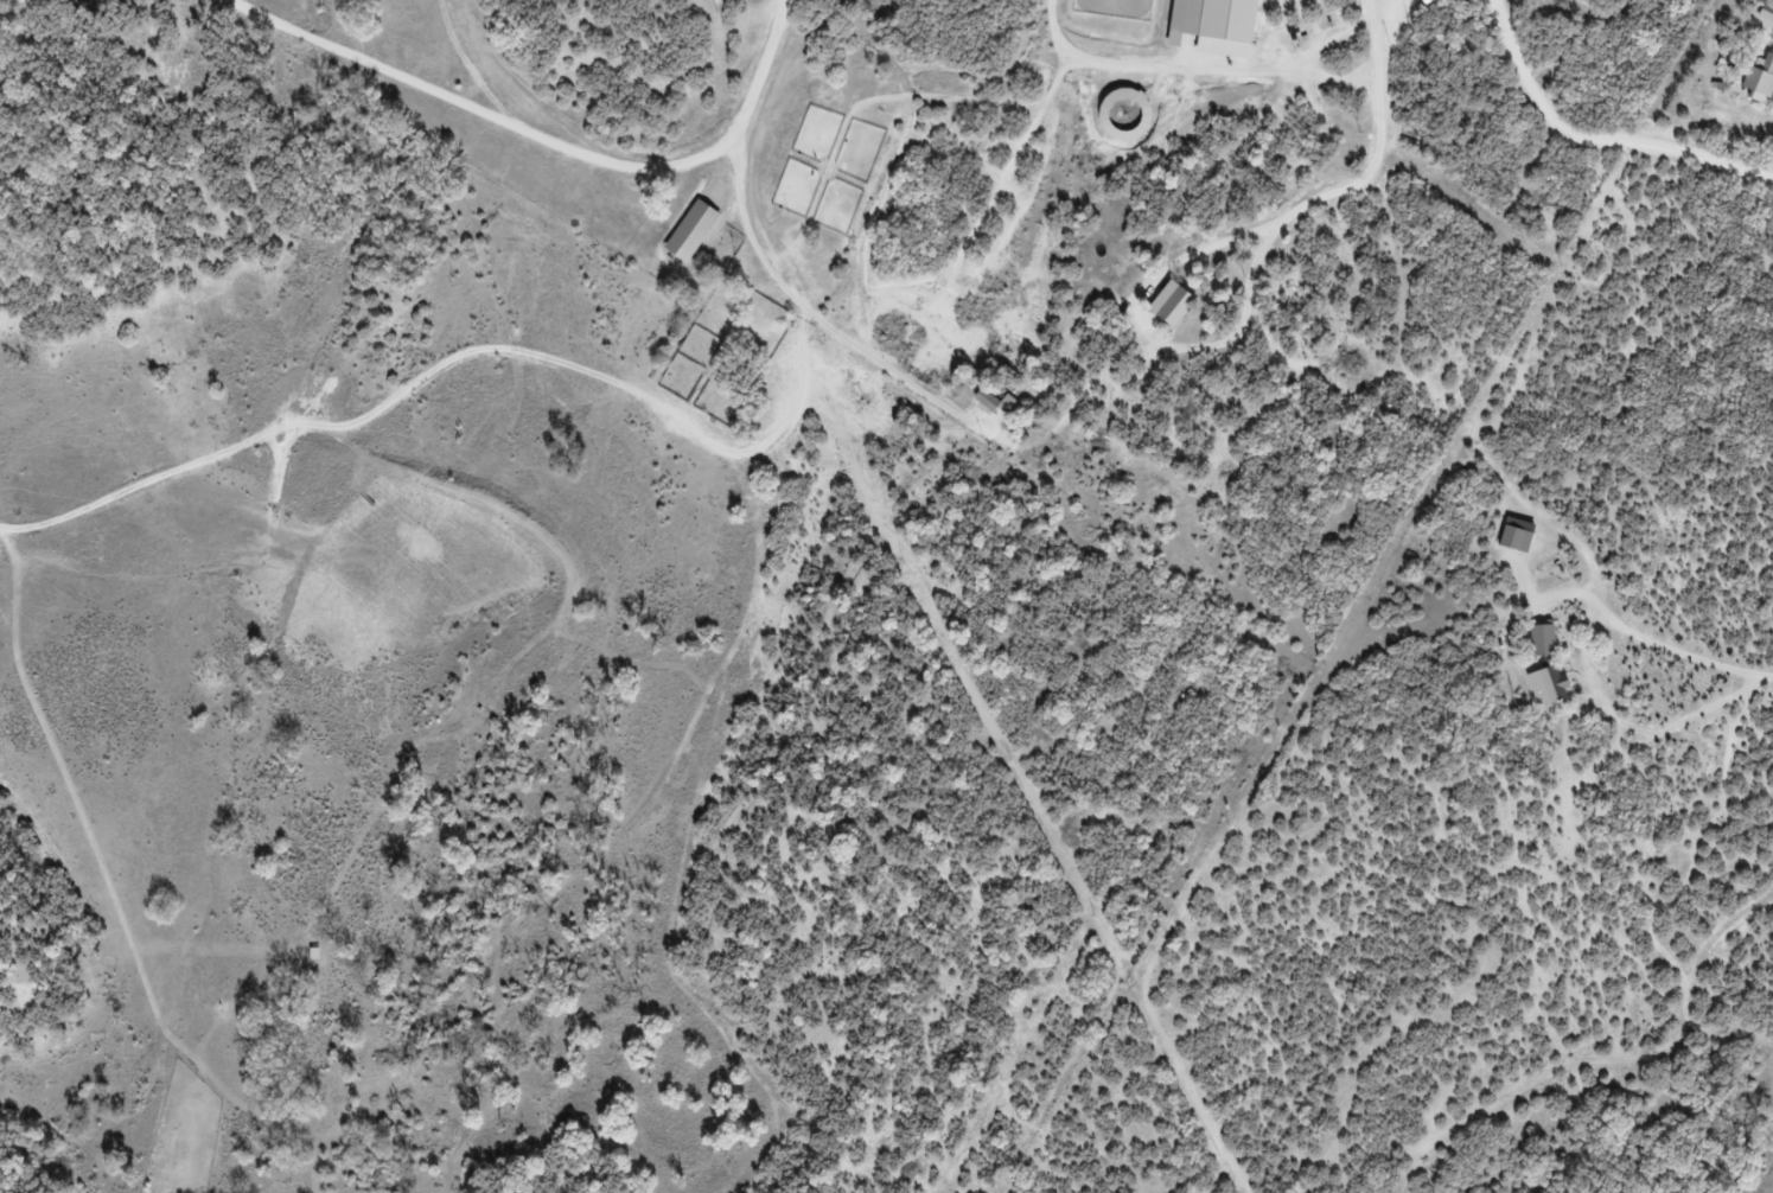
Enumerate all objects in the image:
building: (1218, 23)
building: (1762, 72)
road: (550, 142)
road: (1592, 143)
building: (682, 237)
road: (546, 362)
building: (986, 409)
building: (1532, 646)

